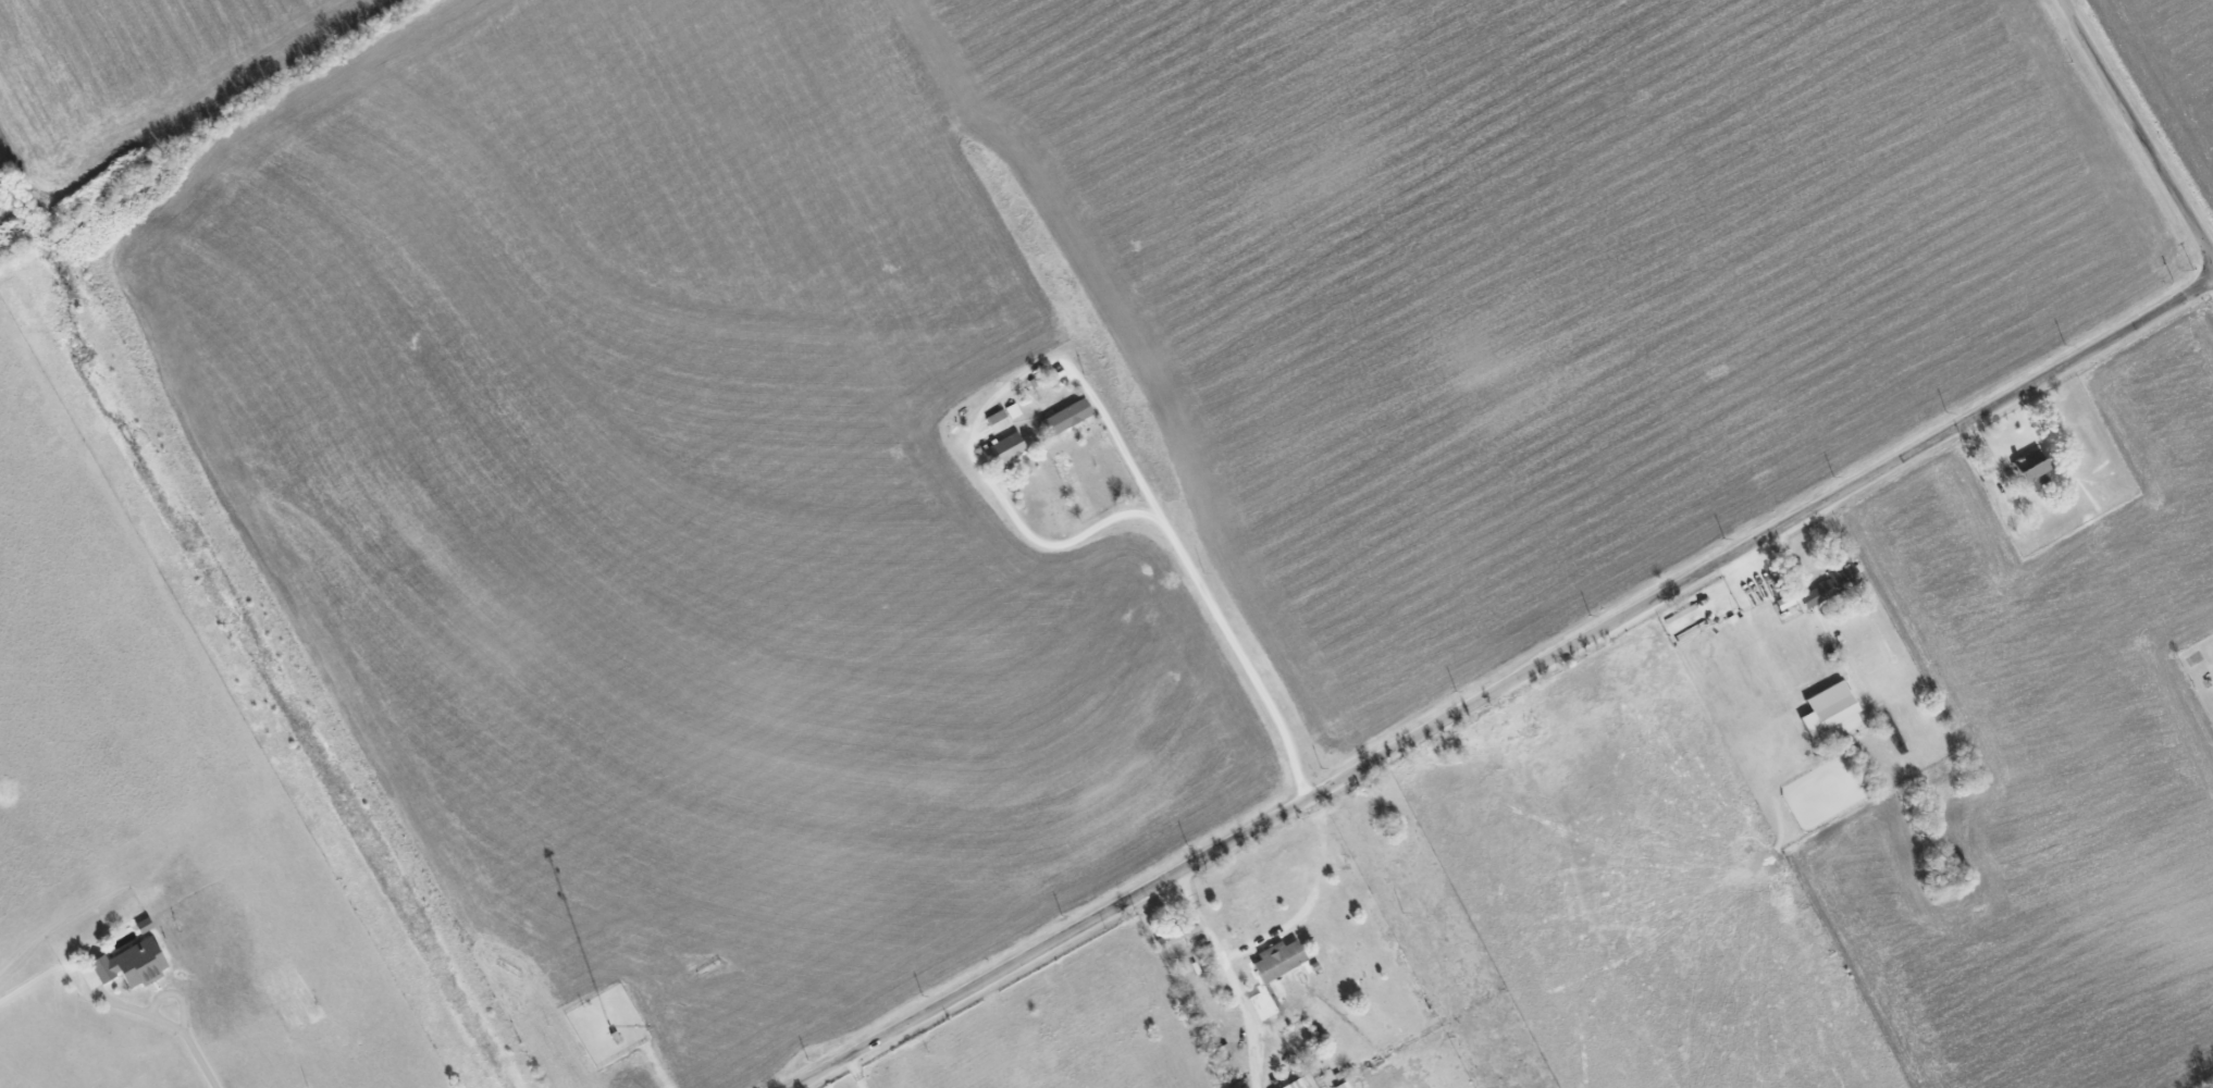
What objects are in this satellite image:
road: (2138, 125)
road: (1097, 408)
building: (1062, 418)
building: (994, 421)
building: (1001, 452)
building: (2028, 470)
building: (1829, 585)
road: (1505, 685)
building: (1825, 707)
road: (1222, 961)
building: (1275, 961)
building: (129, 964)
road: (170, 1024)
road: (857, 1072)
building: (1291, 1085)

